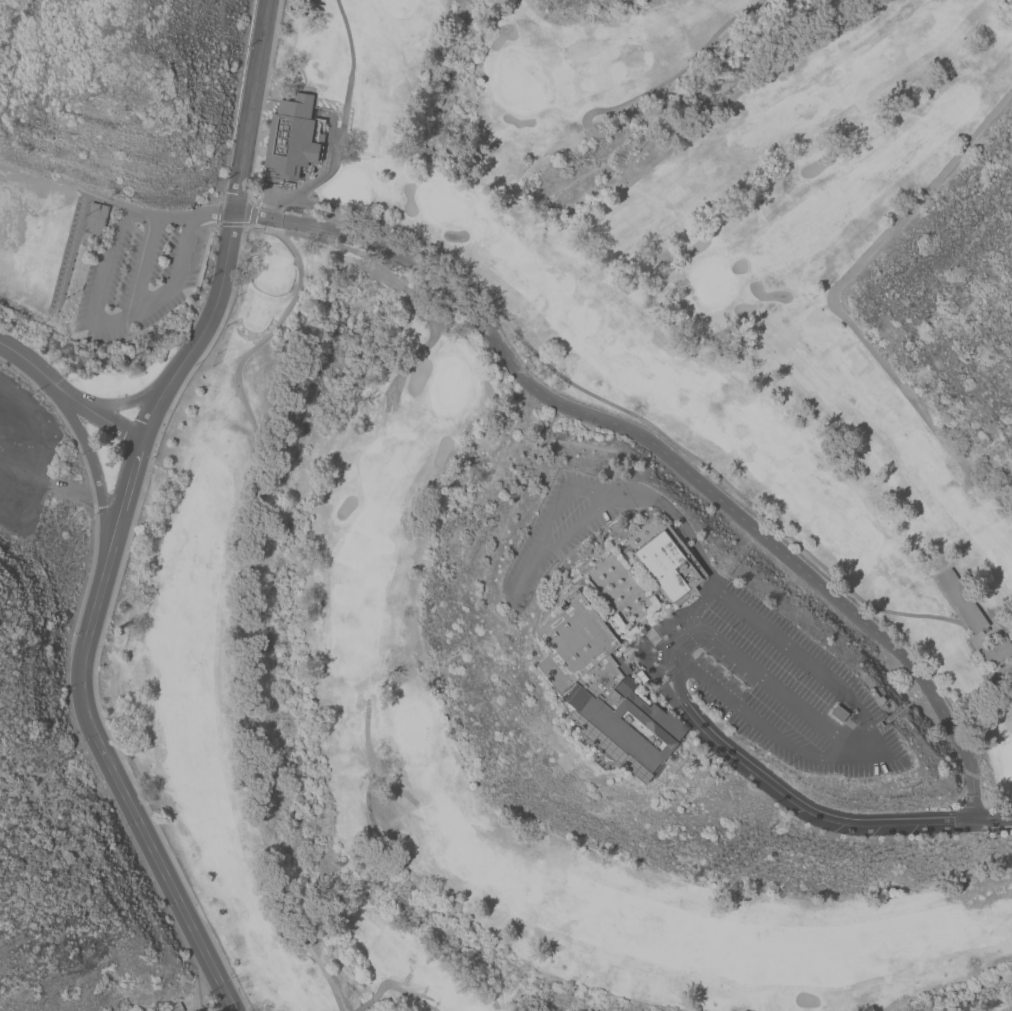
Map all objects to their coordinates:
building: (291, 137)
road: (641, 155)
road: (38, 180)
road: (314, 181)
road: (154, 217)
building: (96, 219)
road: (141, 262)
parking lot: (146, 266)
road: (832, 296)
road: (114, 316)
road: (558, 373)
road: (66, 395)
road: (120, 404)
road: (659, 449)
parking lot: (23, 459)
road: (97, 467)
road: (77, 490)
road: (119, 512)
park: (290, 521)
parking lot: (571, 524)
building: (669, 565)
road: (520, 566)
road: (711, 582)
building: (962, 601)
building: (997, 651)
road: (666, 662)
road: (774, 683)
building: (602, 684)
parking lot: (784, 686)
building: (894, 696)
building: (876, 699)
road: (872, 748)
road: (805, 803)

